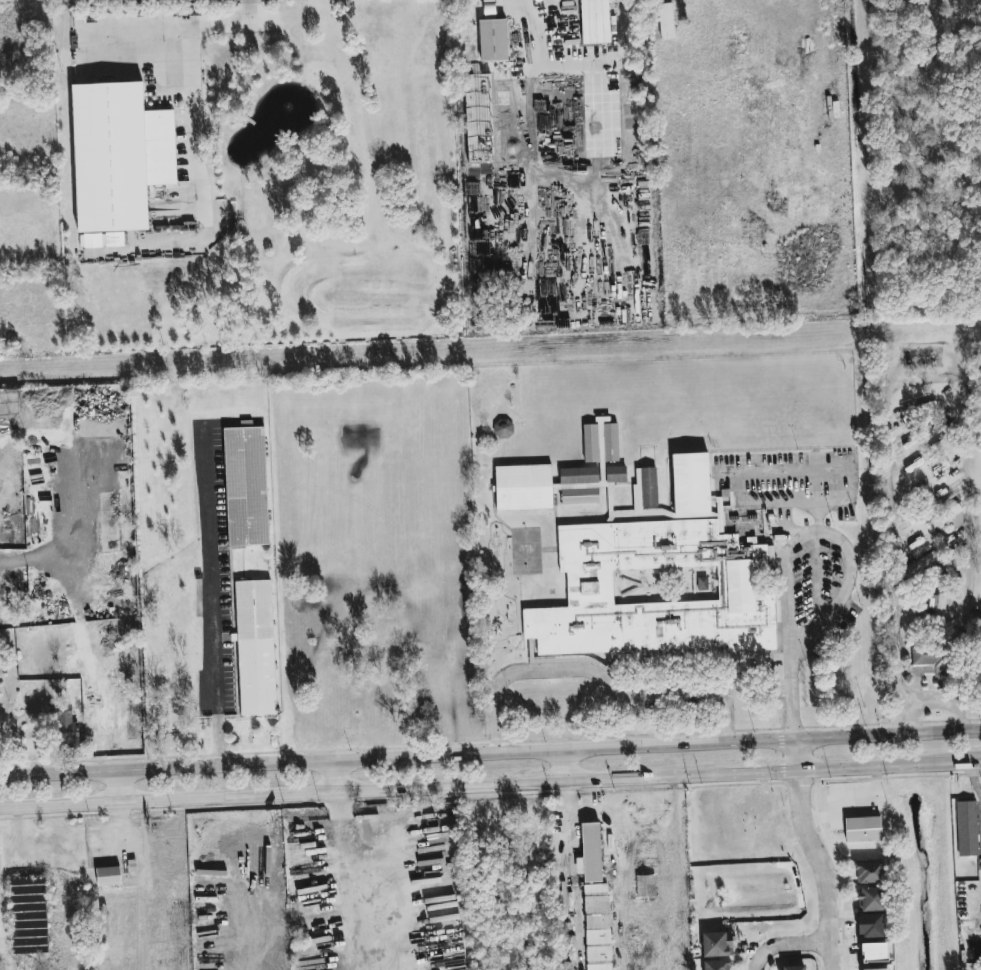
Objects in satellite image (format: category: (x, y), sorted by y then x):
building: (665, 21)
building: (594, 22)
road: (533, 31)
building: (492, 40)
road: (197, 113)
building: (118, 155)
road: (895, 384)
building: (501, 429)
building: (910, 464)
building: (618, 475)
building: (580, 476)
building: (248, 487)
building: (651, 487)
building: (526, 488)
building: (949, 519)
building: (661, 556)
building: (919, 564)
road: (782, 592)
road: (218, 594)
building: (937, 601)
road: (832, 616)
building: (255, 649)
building: (933, 658)
road: (598, 677)
road: (942, 702)
road: (5, 722)
building: (66, 725)
road: (490, 752)
road: (794, 756)
road: (561, 766)
road: (954, 767)
road: (331, 777)
road: (975, 780)
road: (117, 788)
road: (464, 788)
building: (965, 827)
building: (862, 829)
building: (591, 852)
road: (821, 869)
building: (867, 872)
building: (107, 876)
road: (356, 881)
building: (870, 899)
building: (28, 916)
building: (870, 925)
building: (597, 927)
road: (783, 943)
building: (717, 944)
building: (874, 952)
building: (715, 965)
building: (792, 968)
building: (880, 969)

